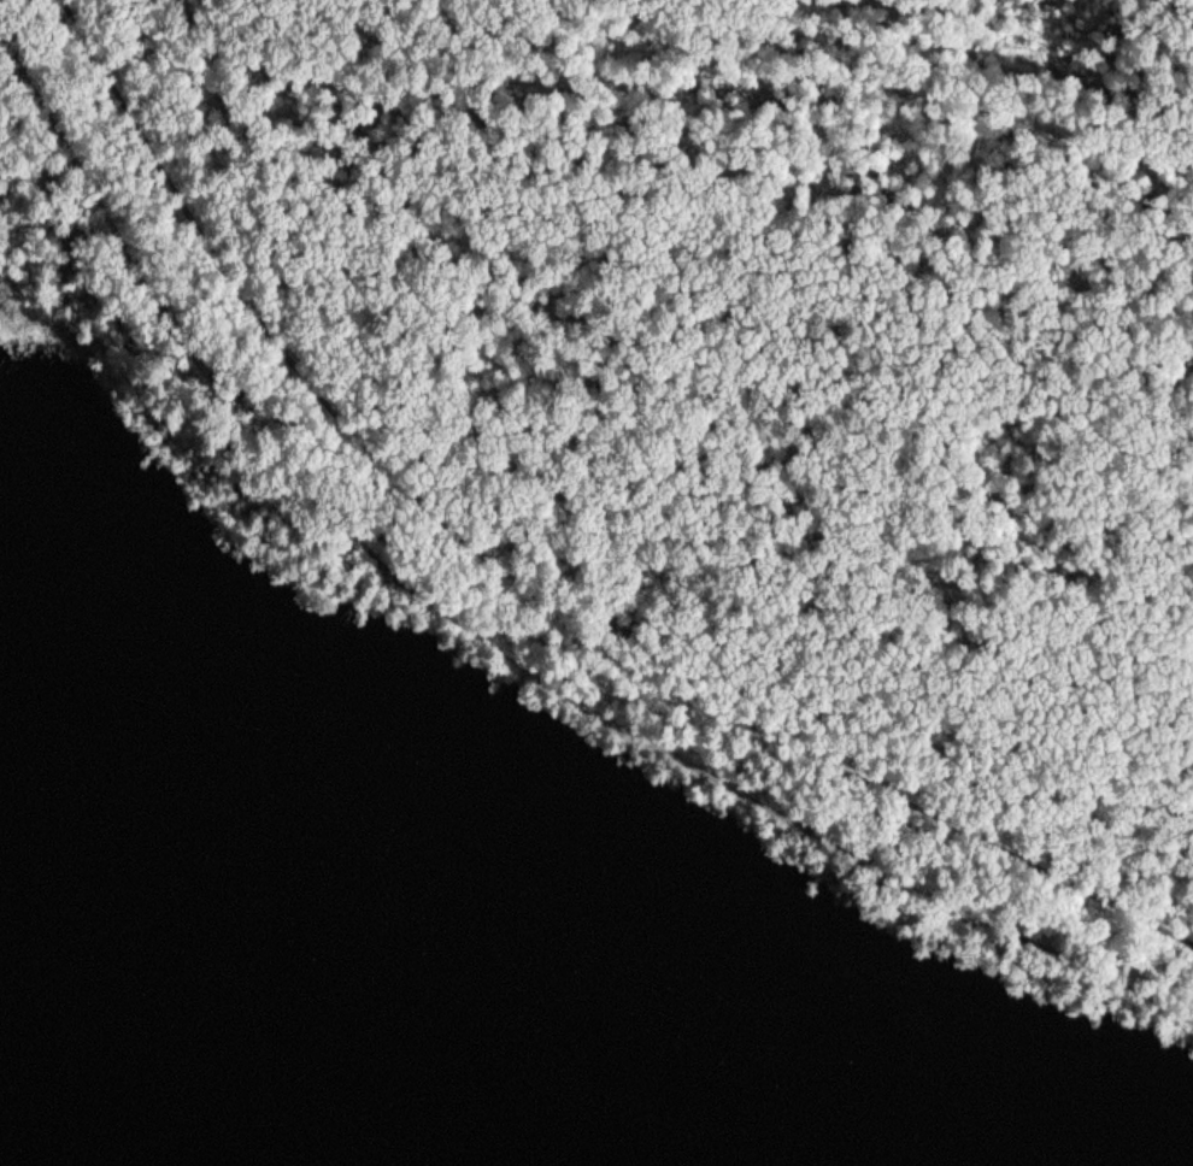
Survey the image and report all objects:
road: (493, 640)

